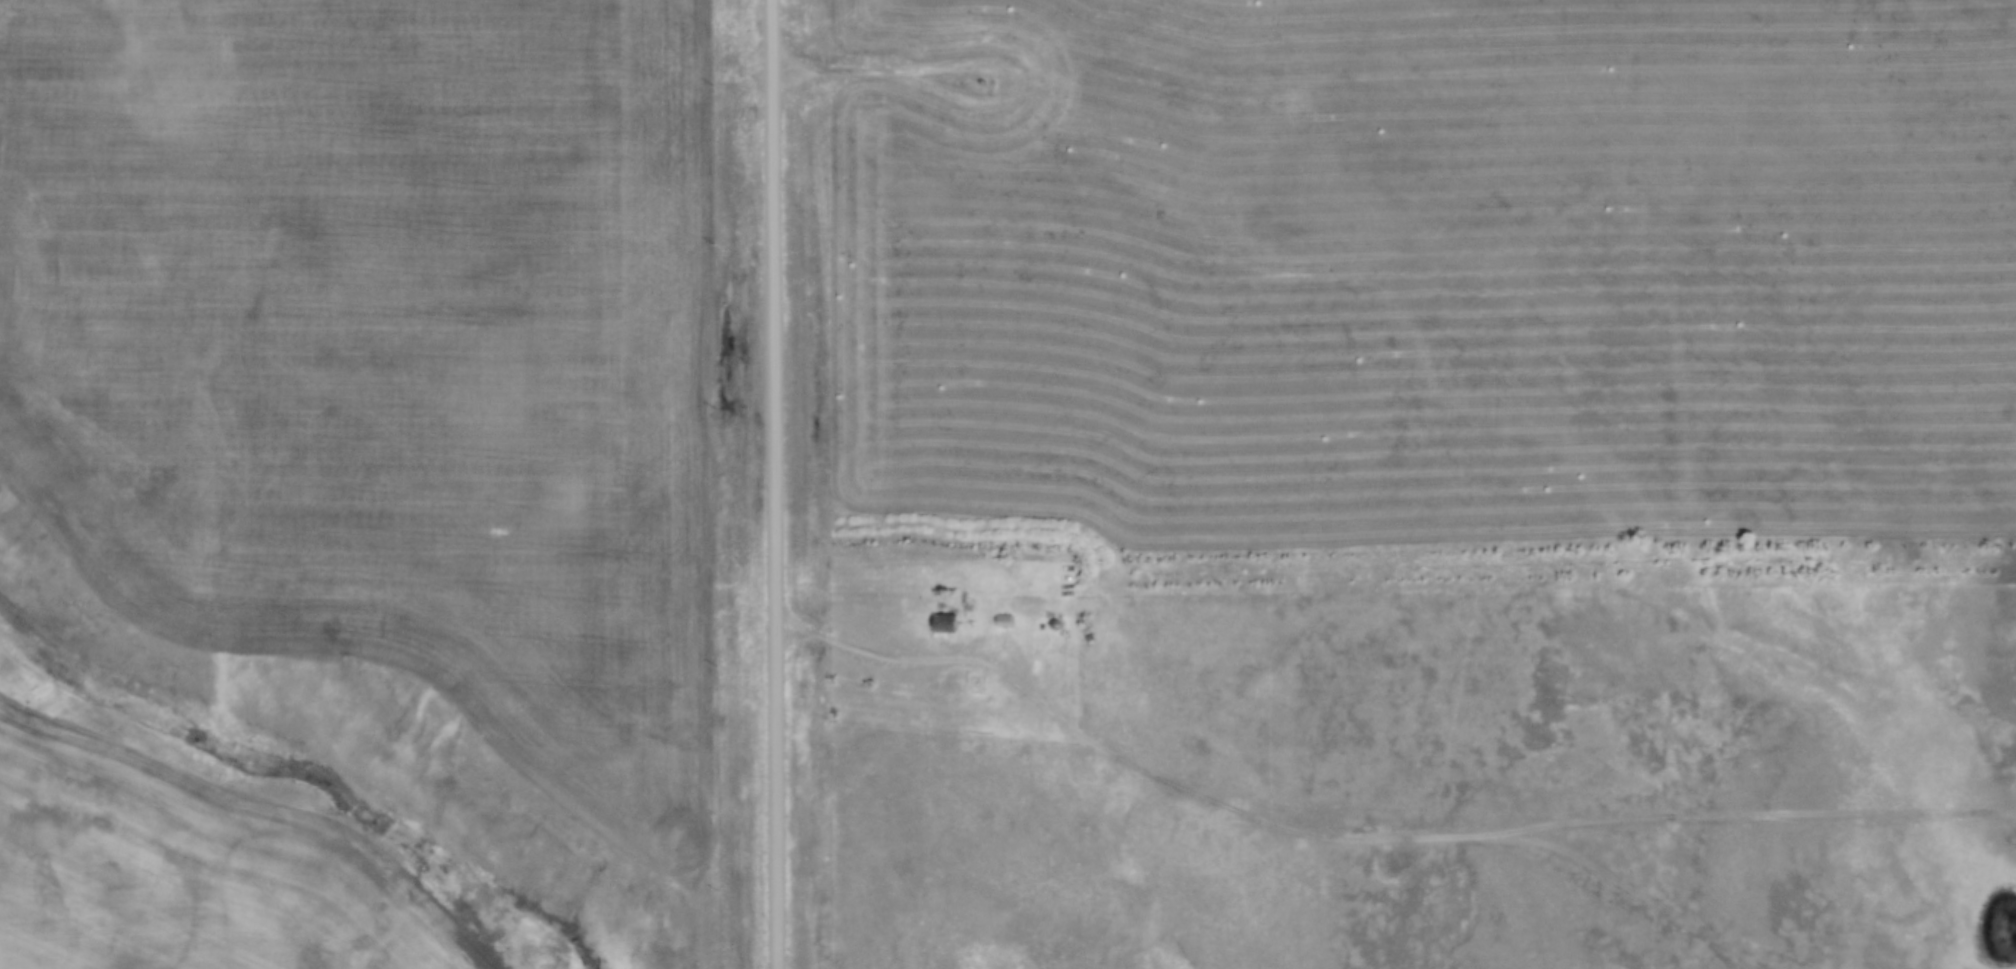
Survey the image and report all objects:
road: (788, 55)
road: (856, 72)
road: (775, 484)
building: (1010, 621)
building: (950, 622)
road: (897, 661)
road: (1642, 822)
road: (1409, 840)

